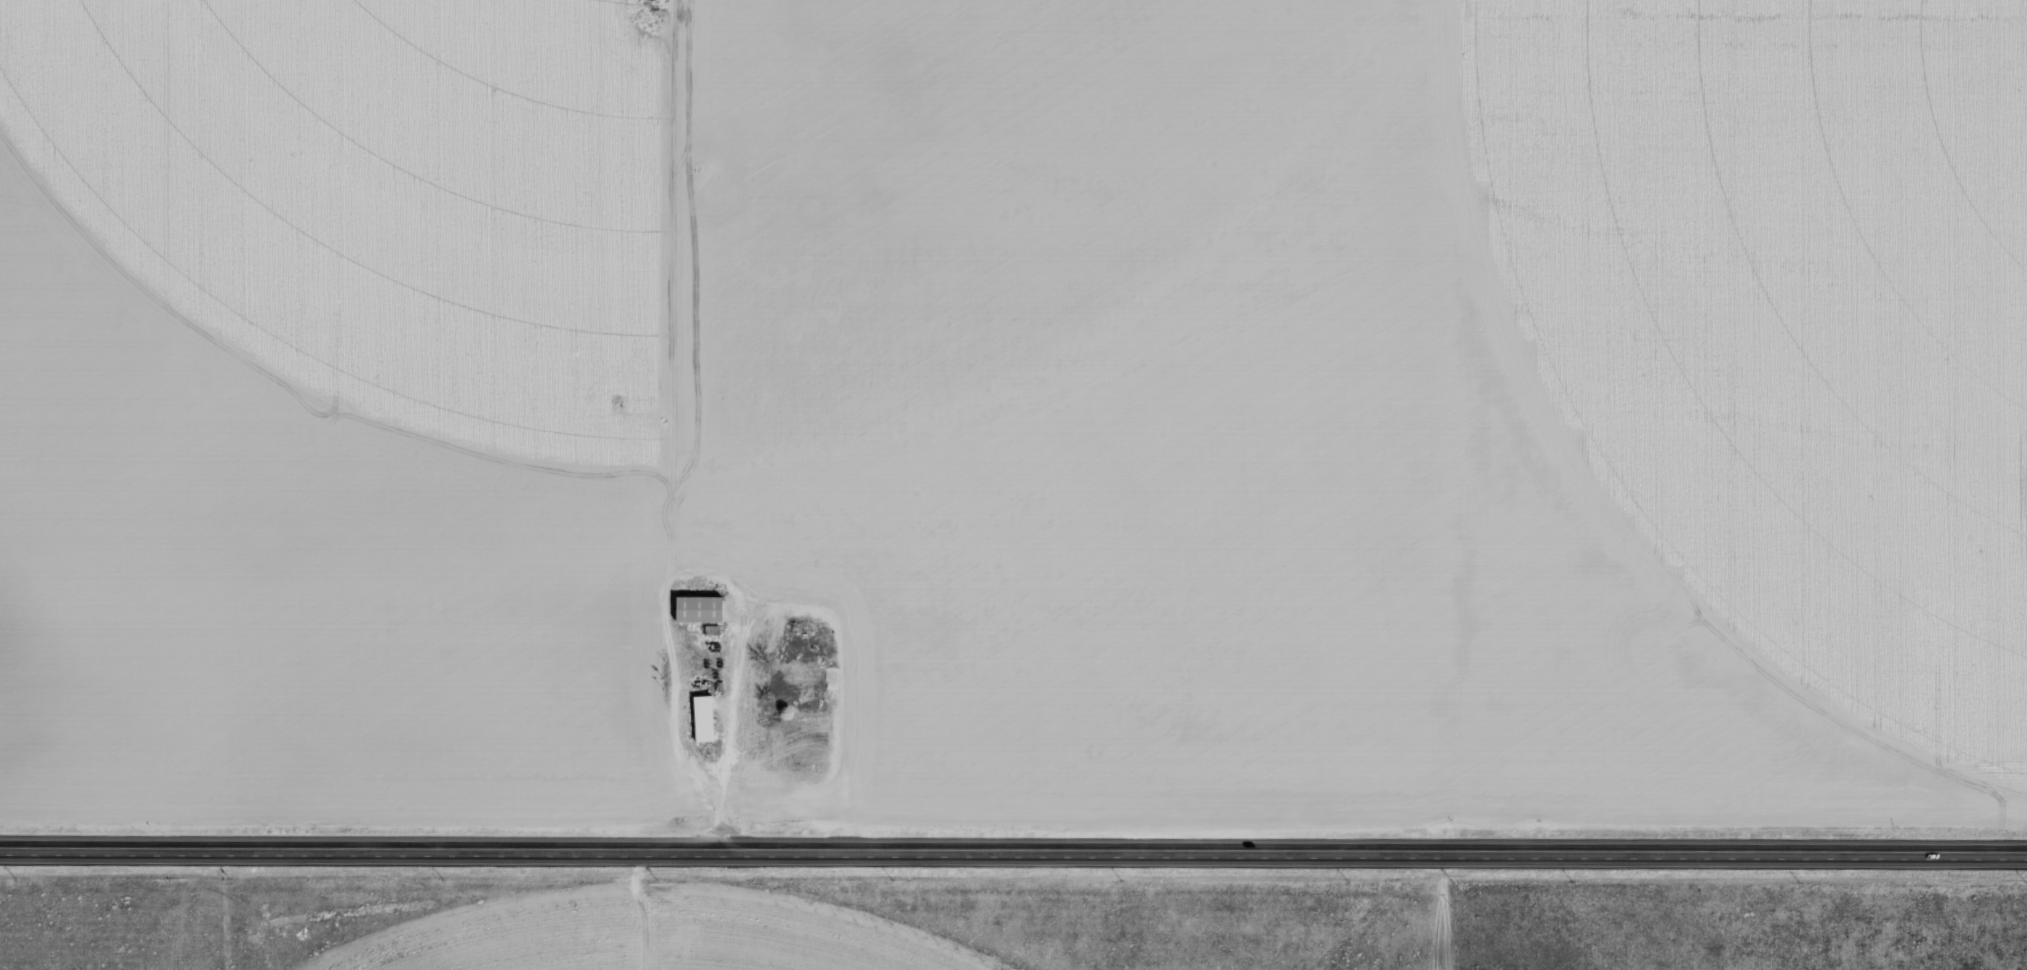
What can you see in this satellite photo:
building: (700, 609)
road: (1013, 849)

